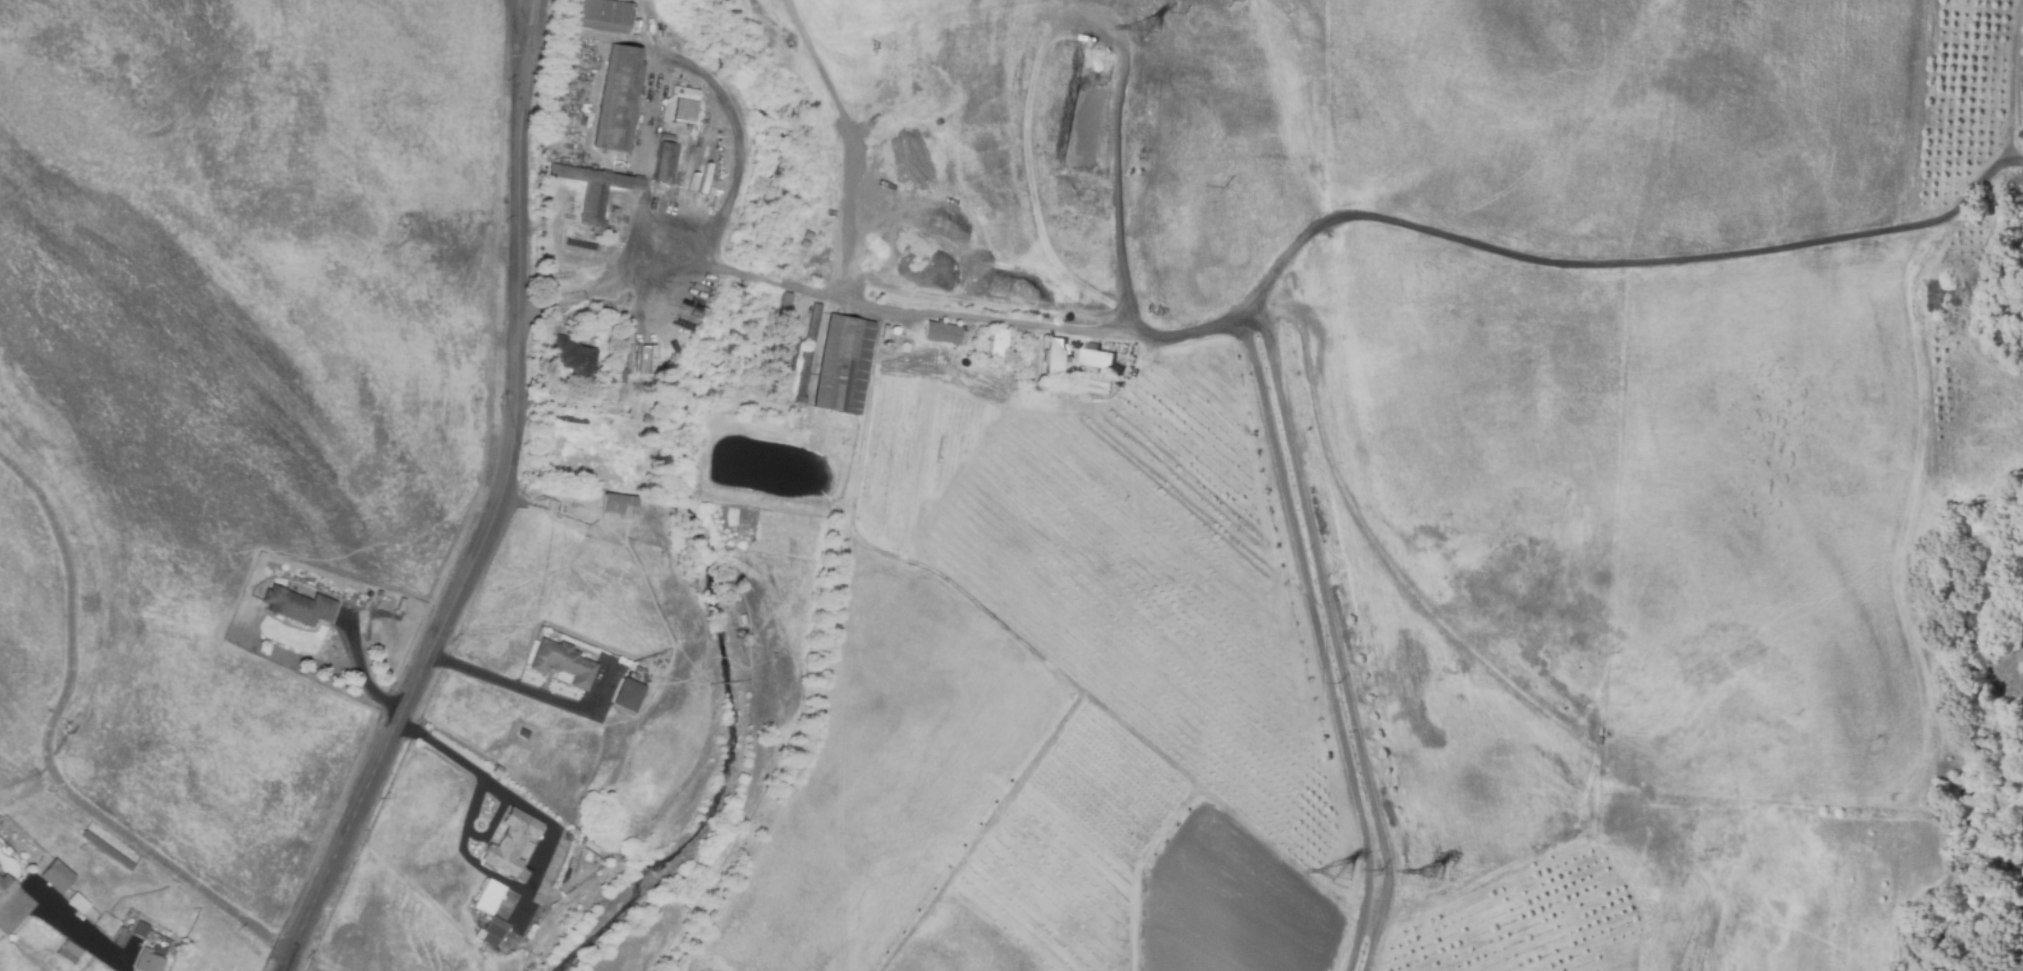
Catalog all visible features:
road: (523, 15)
building: (600, 15)
power tower: (1145, 26)
road: (680, 61)
road: (597, 86)
building: (619, 98)
building: (683, 105)
building: (663, 164)
building: (596, 191)
road: (833, 294)
building: (785, 300)
building: (942, 332)
building: (998, 342)
building: (1005, 345)
building: (1053, 351)
building: (810, 353)
building: (785, 356)
building: (574, 357)
building: (1097, 357)
building: (843, 365)
building: (776, 385)
building: (645, 421)
building: (619, 505)
building: (553, 506)
road: (496, 507)
building: (299, 606)
building: (563, 662)
road: (363, 672)
road: (486, 674)
building: (629, 696)
building: (524, 734)
road: (50, 747)
road: (455, 757)
building: (499, 771)
building: (513, 842)
building: (108, 850)
power tower: (1338, 870)
power tower: (1430, 873)
building: (57, 877)
building: (6, 887)
building: (491, 896)
building: (77, 902)
building: (497, 927)
building: (142, 928)
road: (83, 938)
building: (69, 951)
building: (154, 954)

